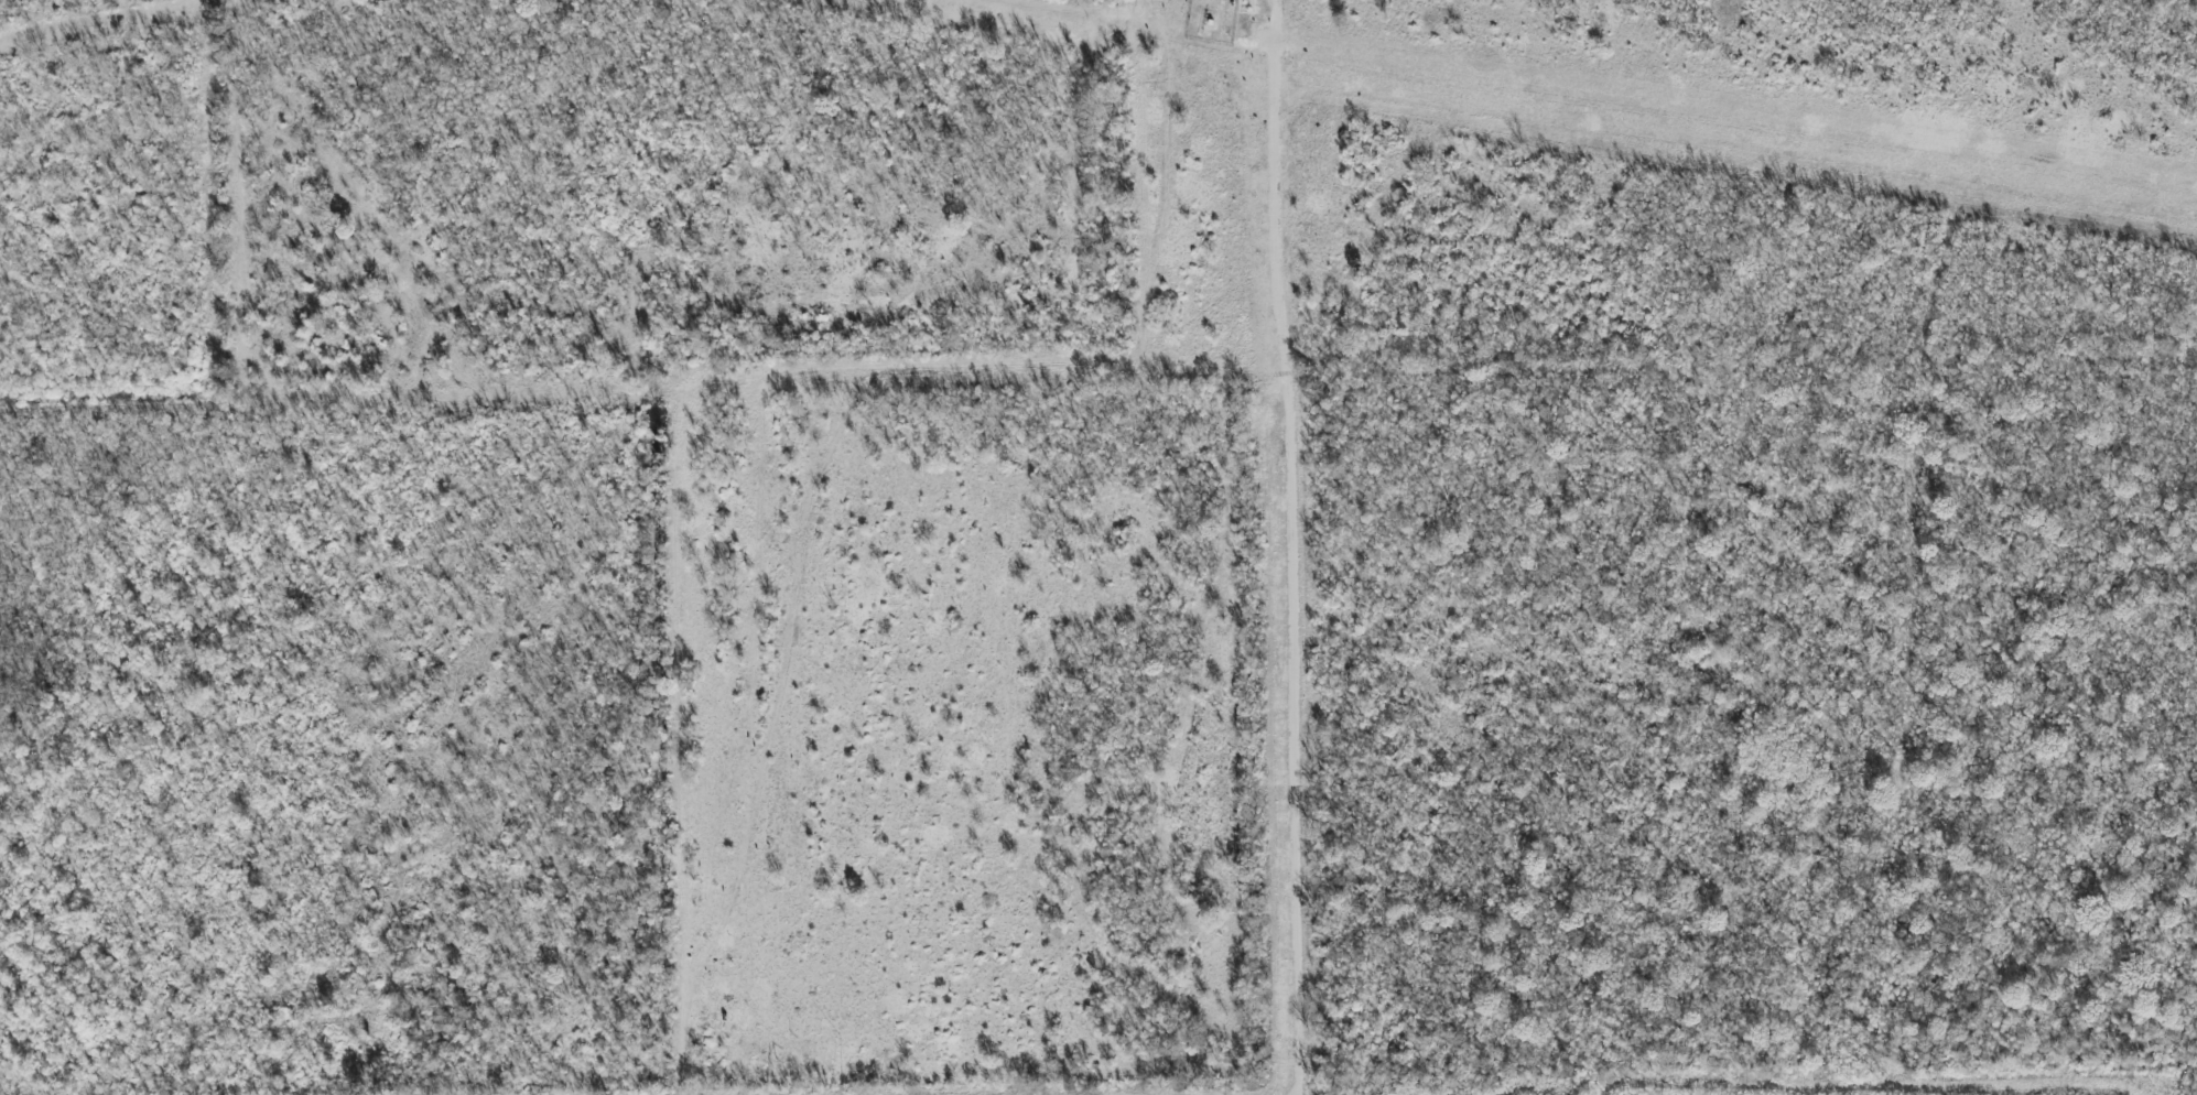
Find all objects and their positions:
road: (121, 437)

